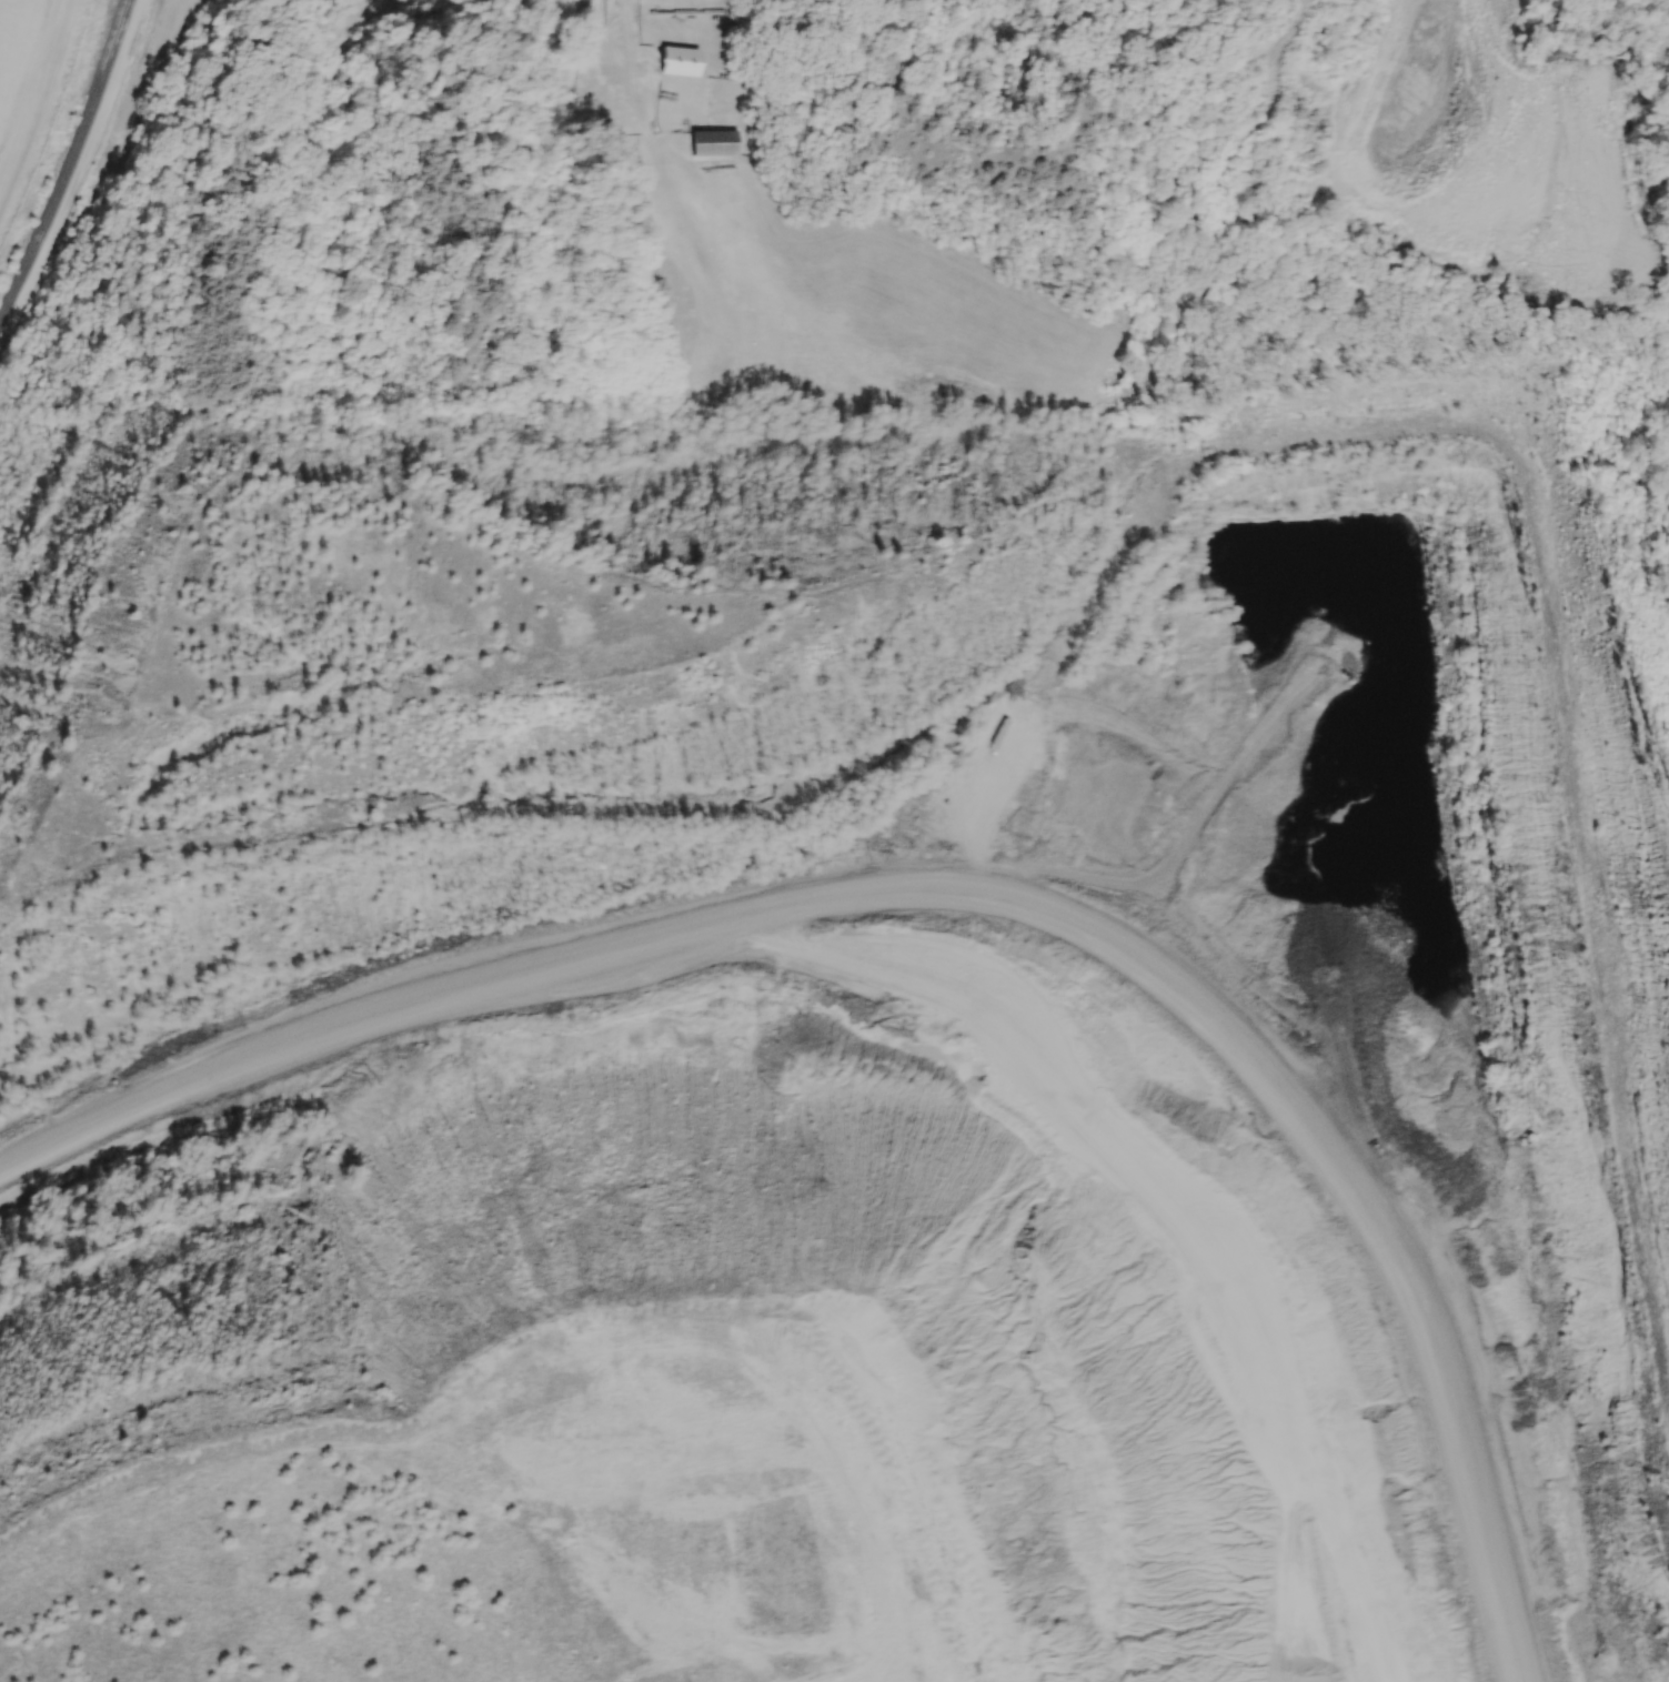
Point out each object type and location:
building: (361, 0)
building: (573, 0)
building: (674, 61)
road: (36, 92)
building: (713, 143)
railway: (69, 164)
quarry: (942, 1187)

